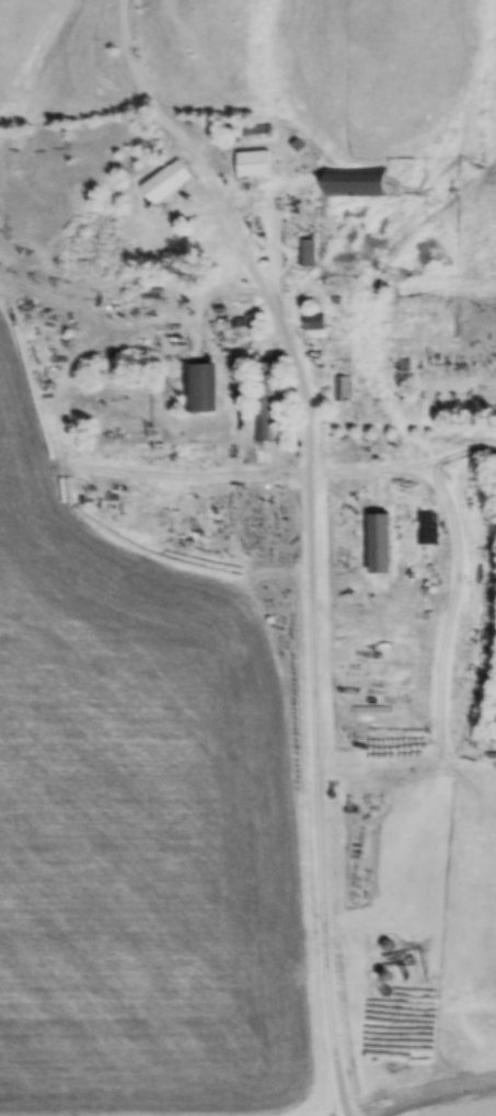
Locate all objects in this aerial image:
building: (258, 134)
building: (252, 164)
building: (351, 183)
building: (165, 184)
building: (305, 254)
building: (312, 323)
building: (245, 328)
building: (199, 390)
building: (343, 390)
building: (268, 402)
building: (377, 544)
road: (315, 637)
road: (458, 1106)

